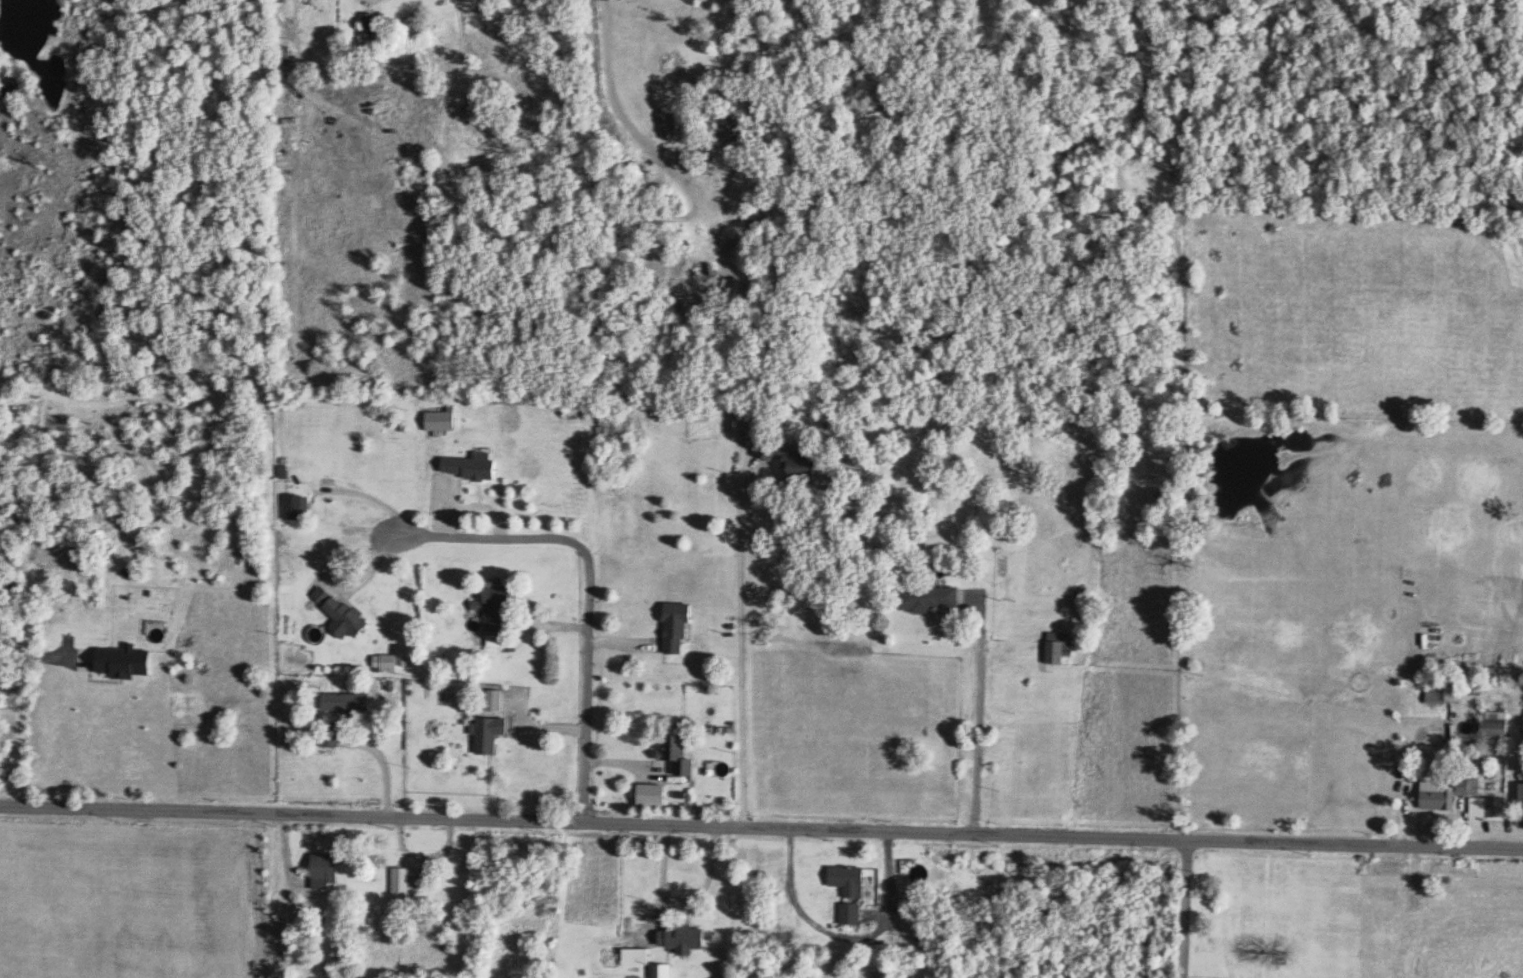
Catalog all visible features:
road: (615, 66)
road: (908, 425)
road: (371, 496)
road: (587, 593)
building: (929, 596)
road: (1041, 640)
building: (1058, 644)
road: (736, 652)
road: (21, 705)
road: (972, 717)
building: (1496, 721)
road: (800, 731)
road: (385, 765)
building: (1436, 792)
building: (1520, 794)
building: (1487, 805)
road: (761, 830)
building: (849, 878)
building: (850, 912)
road: (1186, 912)
road: (843, 938)

